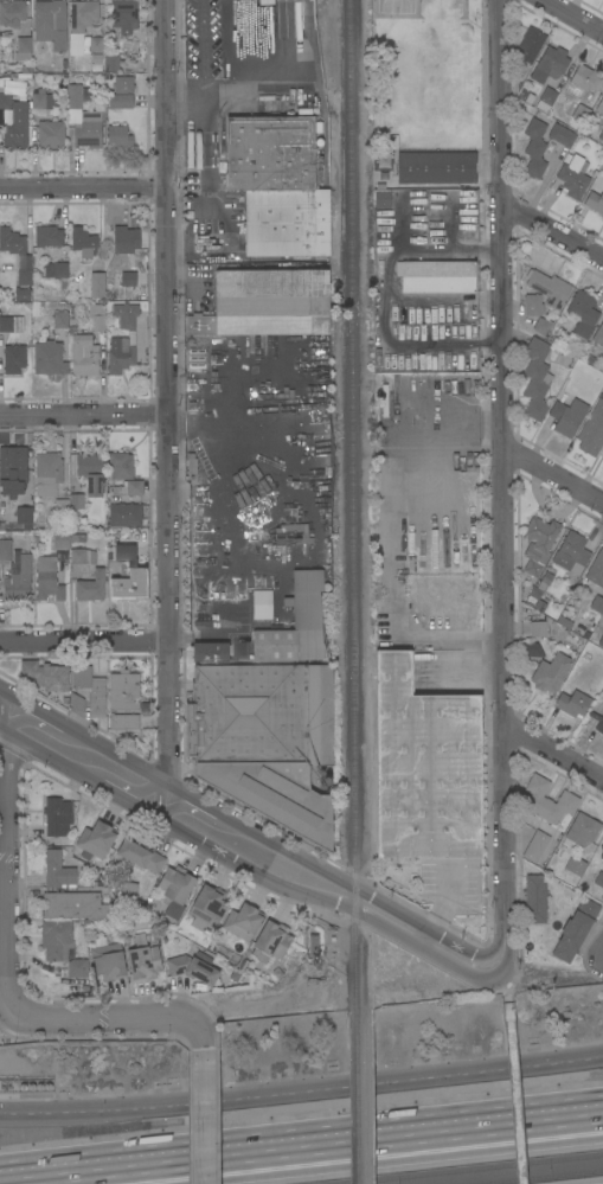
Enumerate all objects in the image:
building: (287, 0)
building: (265, 2)
building: (12, 12)
building: (82, 14)
building: (123, 15)
road: (572, 17)
building: (50, 24)
road: (200, 38)
building: (92, 44)
building: (530, 46)
building: (129, 47)
building: (23, 49)
building: (111, 62)
building: (550, 64)
building: (584, 79)
road: (252, 81)
building: (122, 85)
building: (602, 94)
building: (73, 97)
building: (5, 100)
building: (41, 100)
building: (546, 100)
building: (121, 101)
road: (197, 102)
building: (599, 107)
building: (580, 113)
building: (89, 127)
building: (17, 128)
building: (50, 135)
building: (560, 135)
building: (601, 136)
building: (118, 137)
building: (534, 148)
building: (270, 154)
building: (436, 167)
building: (572, 178)
road: (211, 192)
road: (83, 193)
building: (381, 199)
building: (595, 200)
building: (287, 207)
road: (553, 231)
building: (47, 236)
building: (126, 239)
building: (11, 241)
building: (287, 241)
building: (84, 242)
building: (24, 270)
building: (57, 271)
building: (437, 275)
building: (126, 279)
building: (97, 284)
building: (549, 288)
building: (21, 294)
road: (444, 300)
road: (385, 301)
building: (267, 303)
building: (532, 305)
building: (126, 315)
building: (582, 315)
building: (96, 316)
building: (60, 320)
building: (11, 324)
building: (541, 326)
building: (598, 335)
building: (84, 356)
building: (120, 356)
building: (49, 358)
building: (13, 359)
building: (535, 378)
building: (602, 391)
building: (602, 392)
road: (166, 399)
road: (83, 414)
building: (567, 416)
building: (592, 430)
building: (121, 465)
building: (12, 469)
building: (47, 473)
building: (90, 473)
road: (553, 475)
road: (503, 486)
building: (128, 488)
building: (76, 501)
railway: (354, 505)
building: (60, 507)
building: (24, 512)
building: (124, 514)
building: (60, 540)
building: (538, 544)
building: (5, 550)
building: (571, 553)
building: (82, 556)
building: (595, 574)
building: (128, 576)
building: (18, 578)
building: (47, 580)
building: (545, 581)
building: (90, 588)
railway: (344, 591)
building: (537, 599)
building: (594, 608)
building: (296, 625)
building: (538, 628)
building: (584, 628)
road: (426, 640)
road: (83, 641)
building: (601, 641)
building: (532, 649)
building: (210, 652)
building: (551, 673)
building: (45, 676)
building: (90, 689)
building: (123, 691)
building: (77, 702)
building: (572, 704)
building: (123, 721)
building: (597, 721)
building: (264, 741)
road: (553, 755)
building: (424, 767)
building: (547, 800)
building: (57, 815)
building: (582, 830)
building: (95, 840)
road: (246, 846)
building: (535, 846)
building: (601, 847)
building: (140, 856)
road: (4, 864)
building: (573, 868)
building: (57, 870)
building: (598, 879)
building: (174, 889)
building: (535, 898)
building: (91, 903)
building: (207, 908)
building: (242, 922)
building: (575, 930)
building: (272, 939)
building: (313, 946)
building: (62, 947)
building: (107, 960)
building: (143, 962)
building: (192, 968)
road: (502, 992)
road: (251, 1007)
road: (104, 1018)
road: (198, 1036)
road: (302, 1090)
railway: (357, 1096)
road: (514, 1097)
road: (200, 1115)
road: (301, 1148)
railway: (469, 1169)
railway: (539, 1177)

